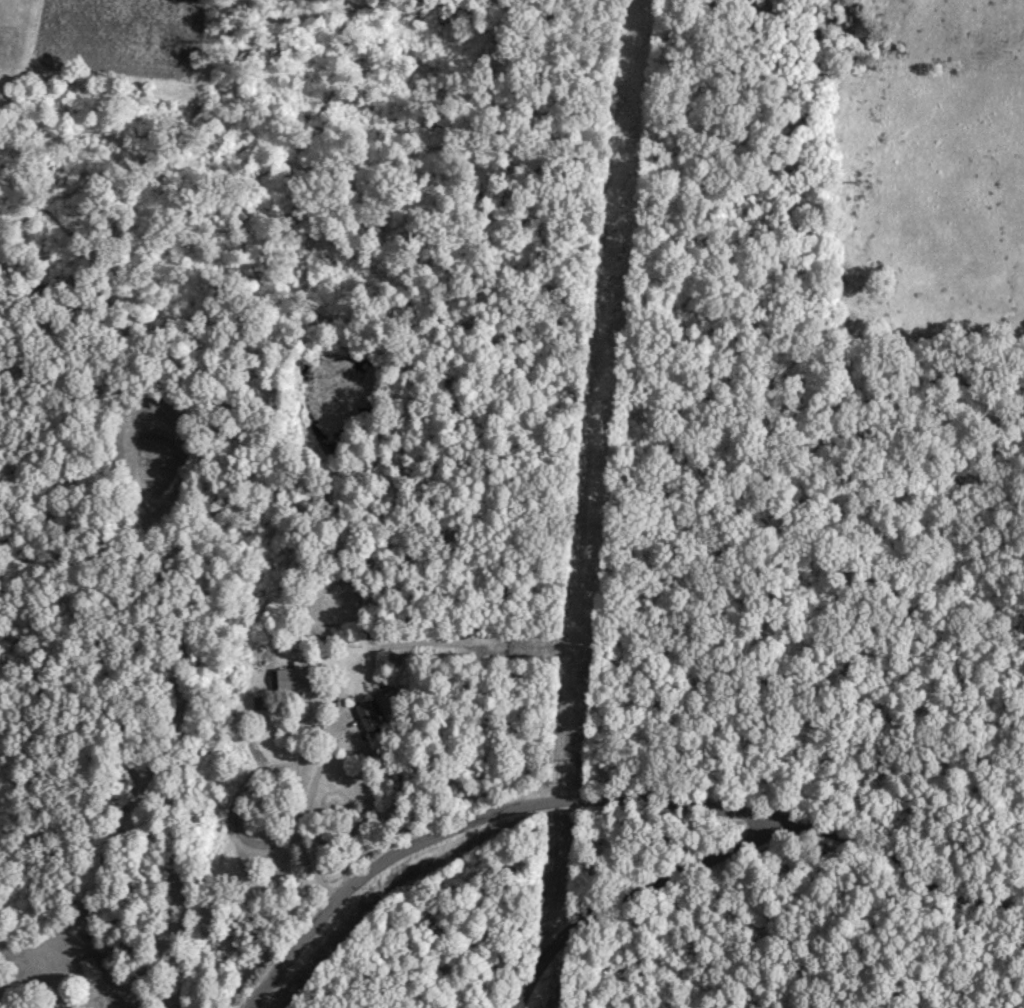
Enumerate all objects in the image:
building: (286, 679)
building: (362, 714)
road: (613, 800)
road: (311, 829)
road: (658, 899)
building: (85, 968)
road: (110, 998)

